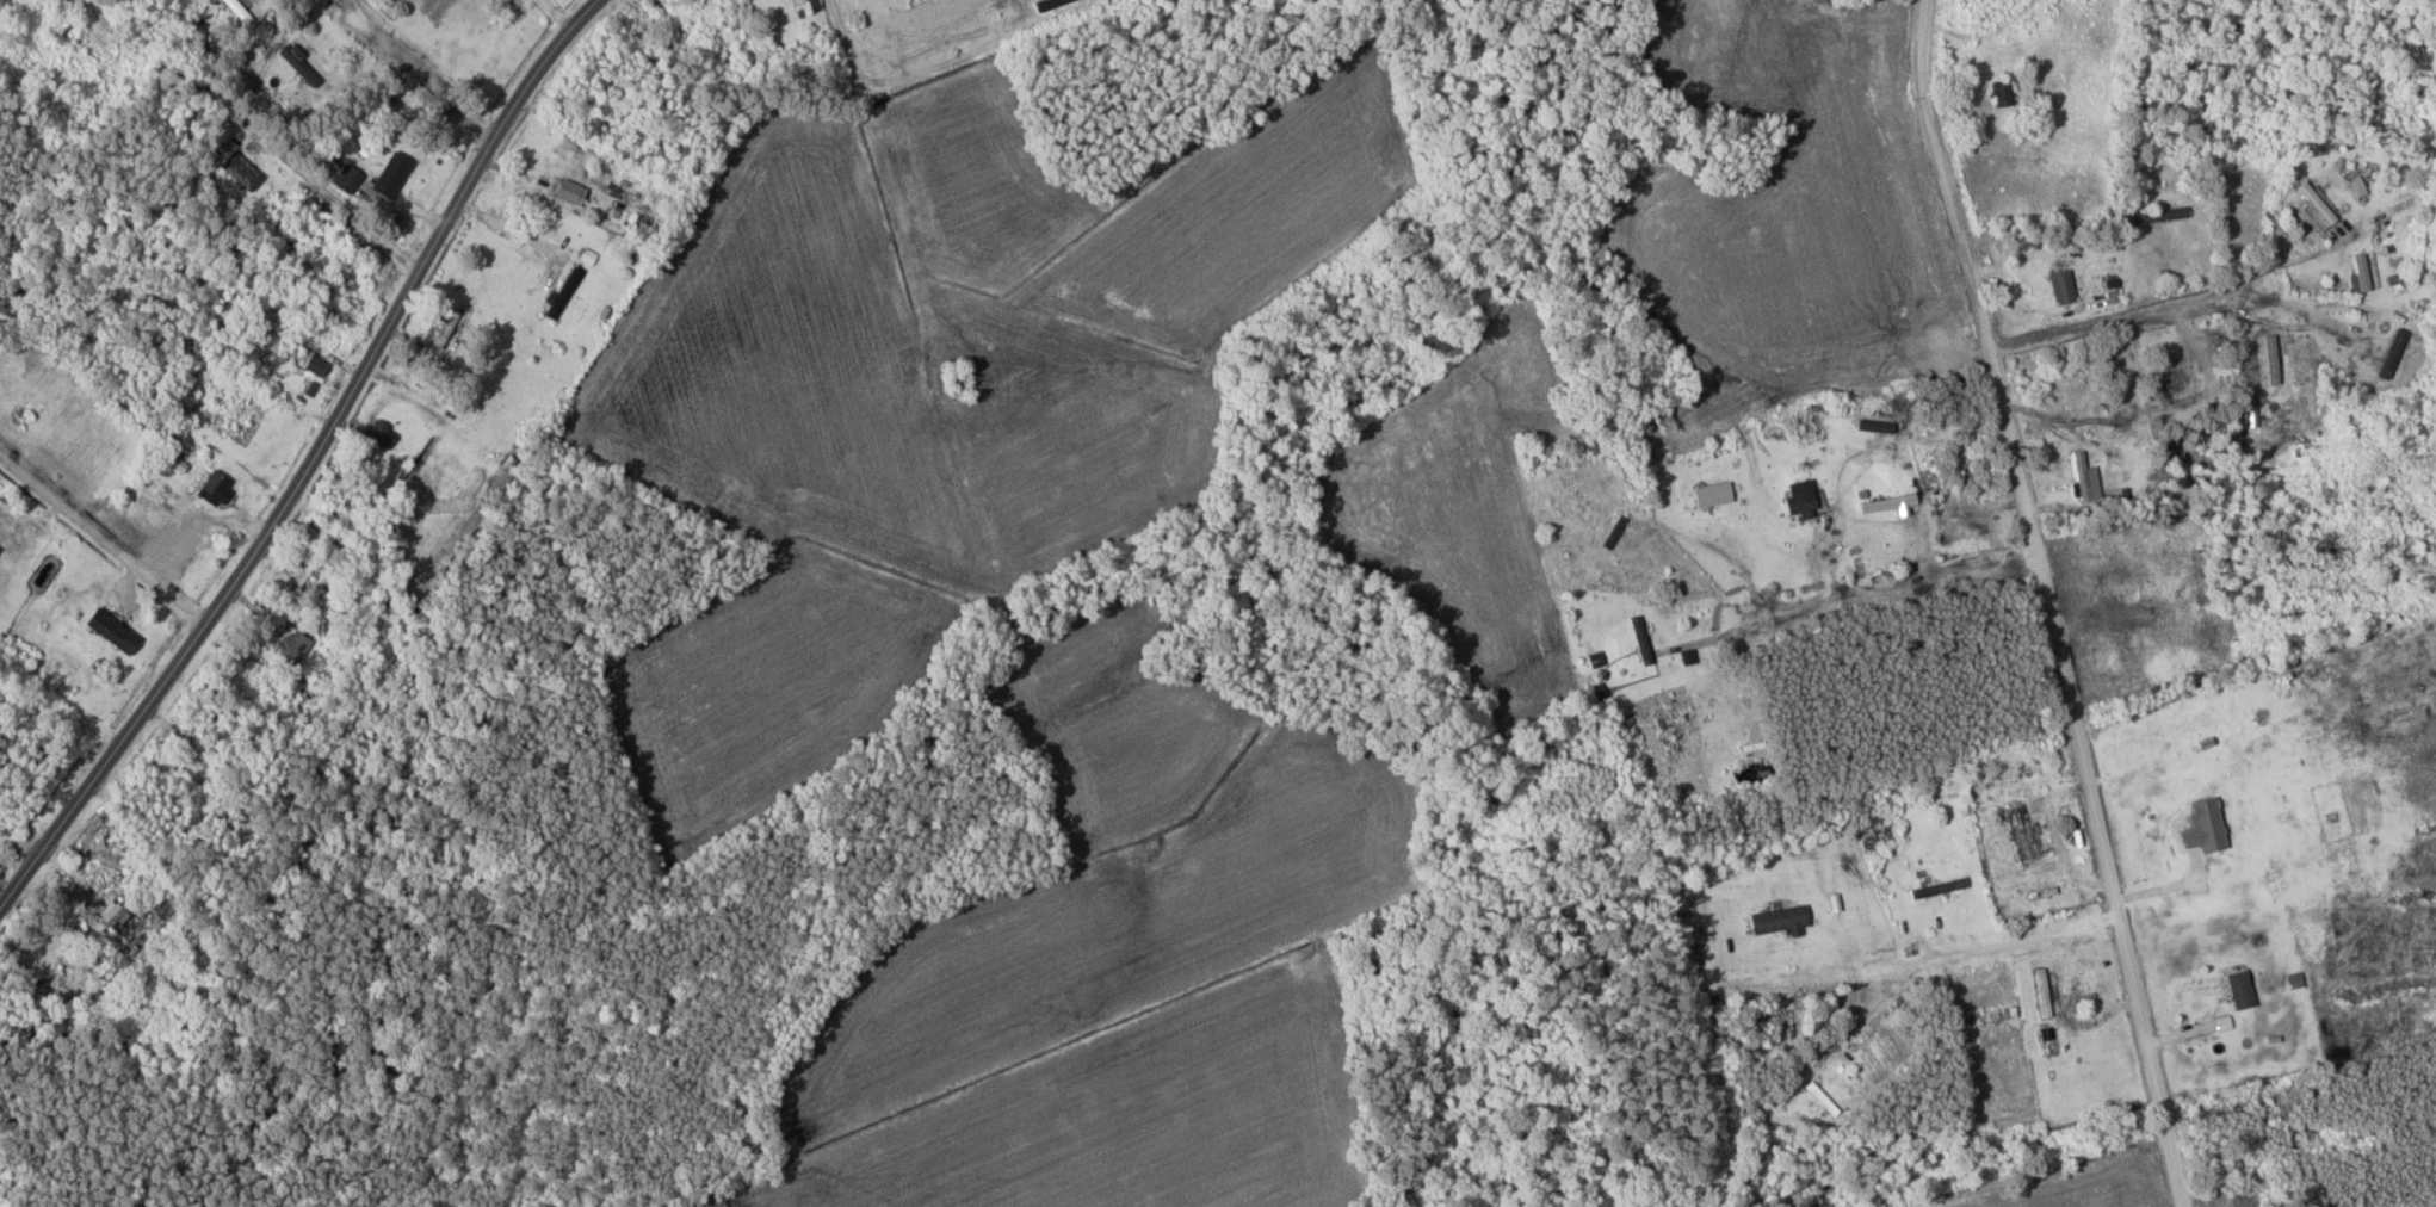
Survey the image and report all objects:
road: (414, 68)
road: (330, 198)
road: (2182, 295)
road: (309, 460)
road: (103, 539)
road: (1893, 586)
road: (2045, 602)
road: (1958, 955)

